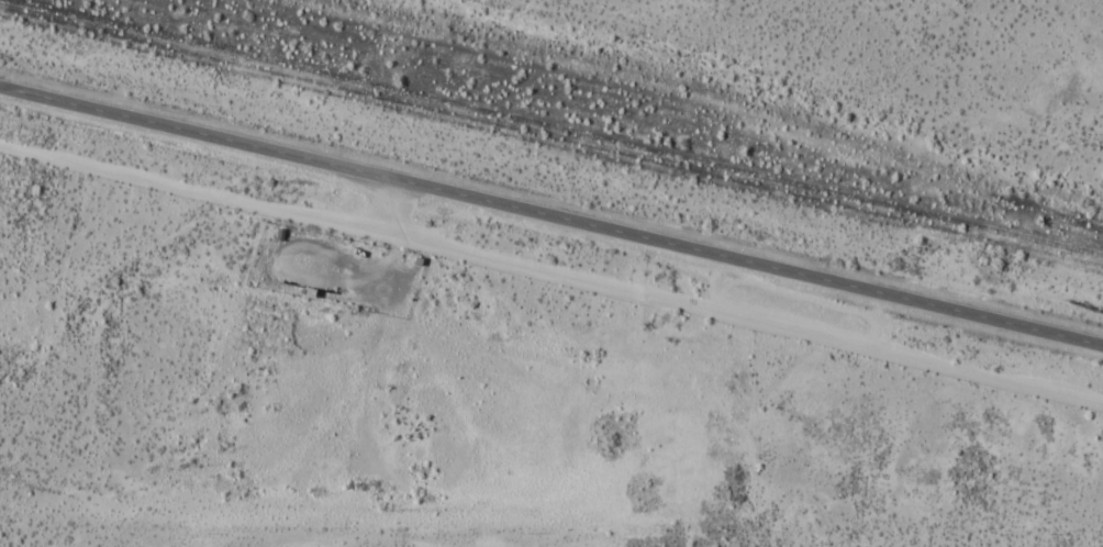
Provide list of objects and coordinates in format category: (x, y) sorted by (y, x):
road: (551, 213)
building: (314, 282)

